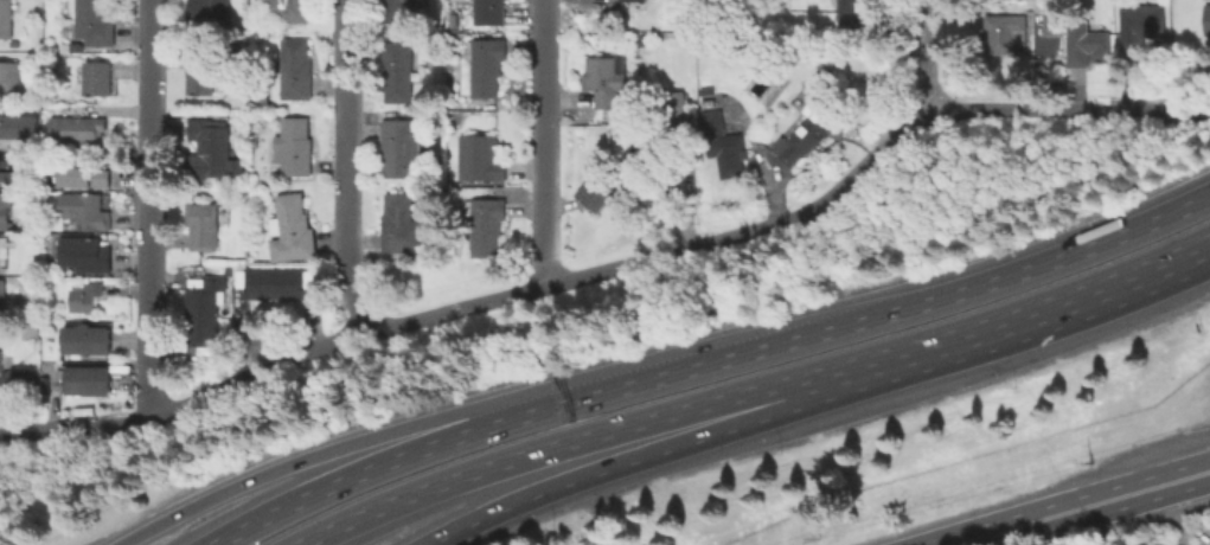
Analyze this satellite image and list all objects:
building: (630, 2)
building: (849, 6)
building: (402, 11)
building: (296, 12)
building: (210, 13)
building: (489, 13)
building: (1205, 17)
building: (6, 20)
building: (95, 24)
building: (1055, 26)
building: (1142, 27)
building: (1006, 37)
building: (1087, 46)
road: (926, 58)
building: (487, 69)
building: (297, 71)
building: (201, 73)
building: (398, 76)
building: (11, 78)
building: (100, 79)
building: (604, 83)
building: (678, 113)
building: (19, 128)
building: (78, 132)
building: (807, 136)
road: (540, 142)
building: (295, 148)
building: (396, 150)
building: (212, 152)
building: (724, 153)
building: (655, 154)
building: (481, 162)
building: (633, 162)
road: (342, 166)
building: (6, 173)
building: (84, 178)
building: (595, 195)
road: (149, 210)
building: (6, 212)
building: (87, 212)
building: (486, 220)
building: (401, 226)
building: (205, 227)
building: (293, 231)
road: (684, 246)
building: (0, 256)
building: (85, 256)
road: (1005, 281)
building: (274, 286)
building: (210, 297)
building: (87, 299)
building: (4, 300)
road: (1029, 321)
building: (205, 336)
building: (90, 341)
road: (672, 372)
building: (88, 383)
building: (17, 385)
road: (75, 431)
road: (476, 434)
road: (568, 444)
road: (331, 453)
road: (639, 462)
road: (308, 500)
road: (1086, 507)
road: (1173, 515)
building: (1155, 544)
building: (1167, 544)

